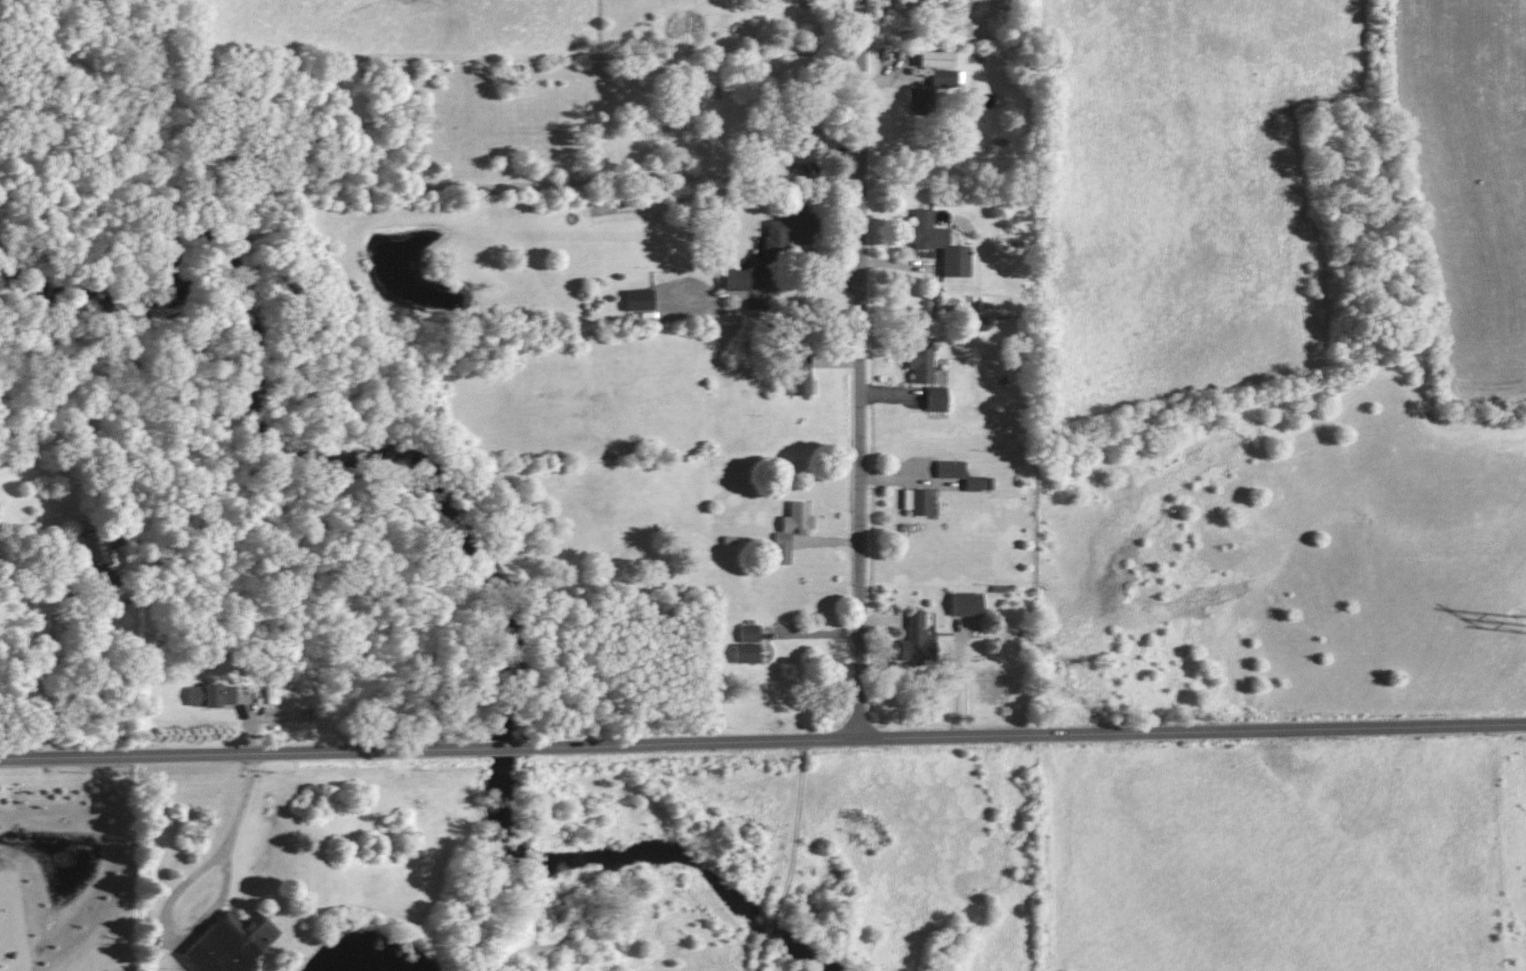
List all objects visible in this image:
building: (790, 1)
building: (936, 59)
building: (943, 78)
building: (919, 94)
building: (803, 130)
park: (1367, 218)
building: (787, 234)
building: (938, 244)
road: (811, 277)
building: (735, 279)
building: (639, 299)
building: (920, 364)
road: (864, 369)
building: (801, 377)
building: (936, 399)
building: (950, 469)
building: (972, 483)
building: (919, 502)
building: (797, 518)
building: (782, 548)
building: (99, 555)
building: (966, 603)
building: (749, 633)
road: (818, 636)
building: (912, 641)
building: (746, 653)
road: (42, 677)
building: (211, 696)
road: (763, 747)
road: (177, 894)
building: (230, 943)

